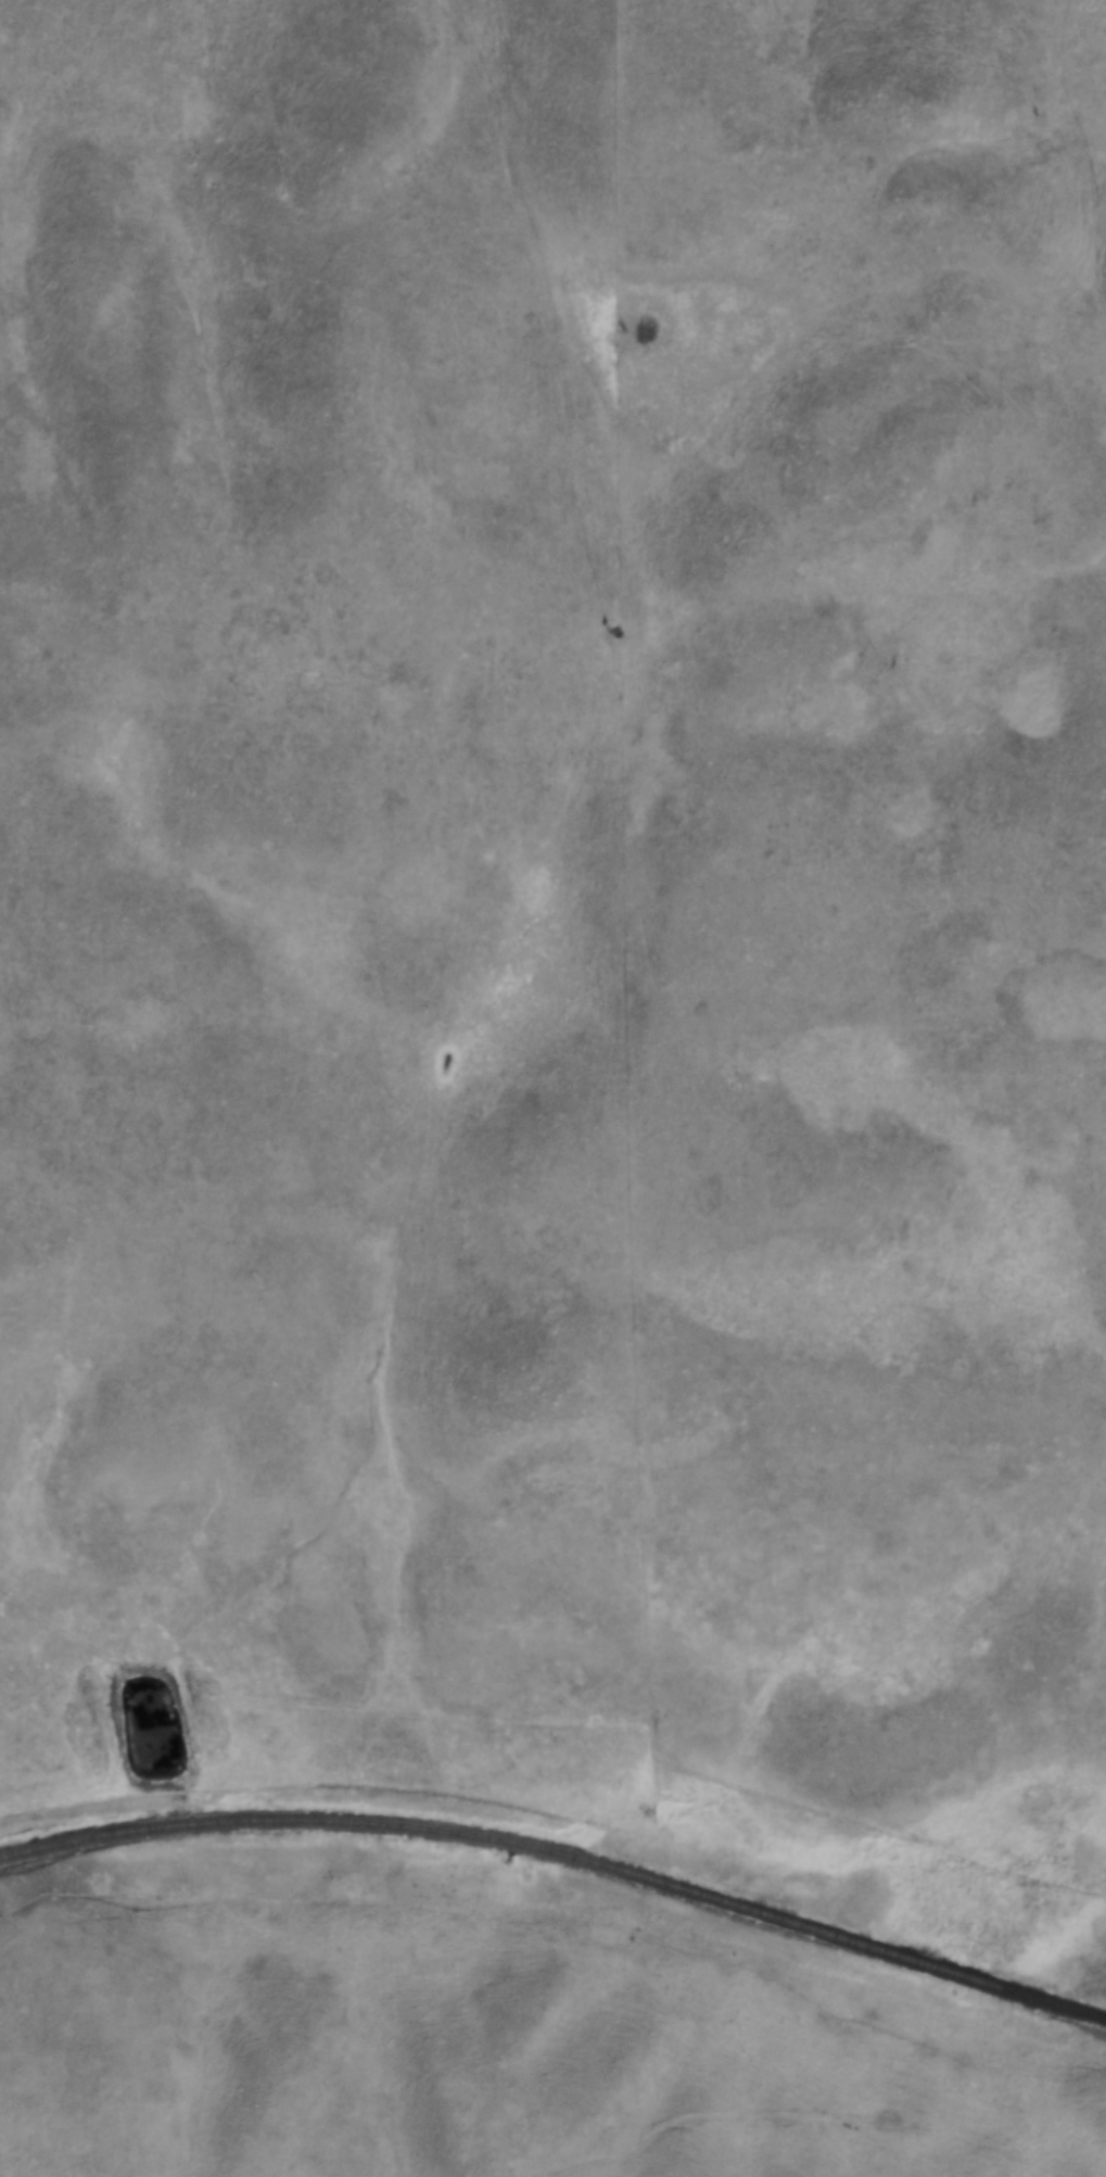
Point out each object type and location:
railway: (559, 1843)

